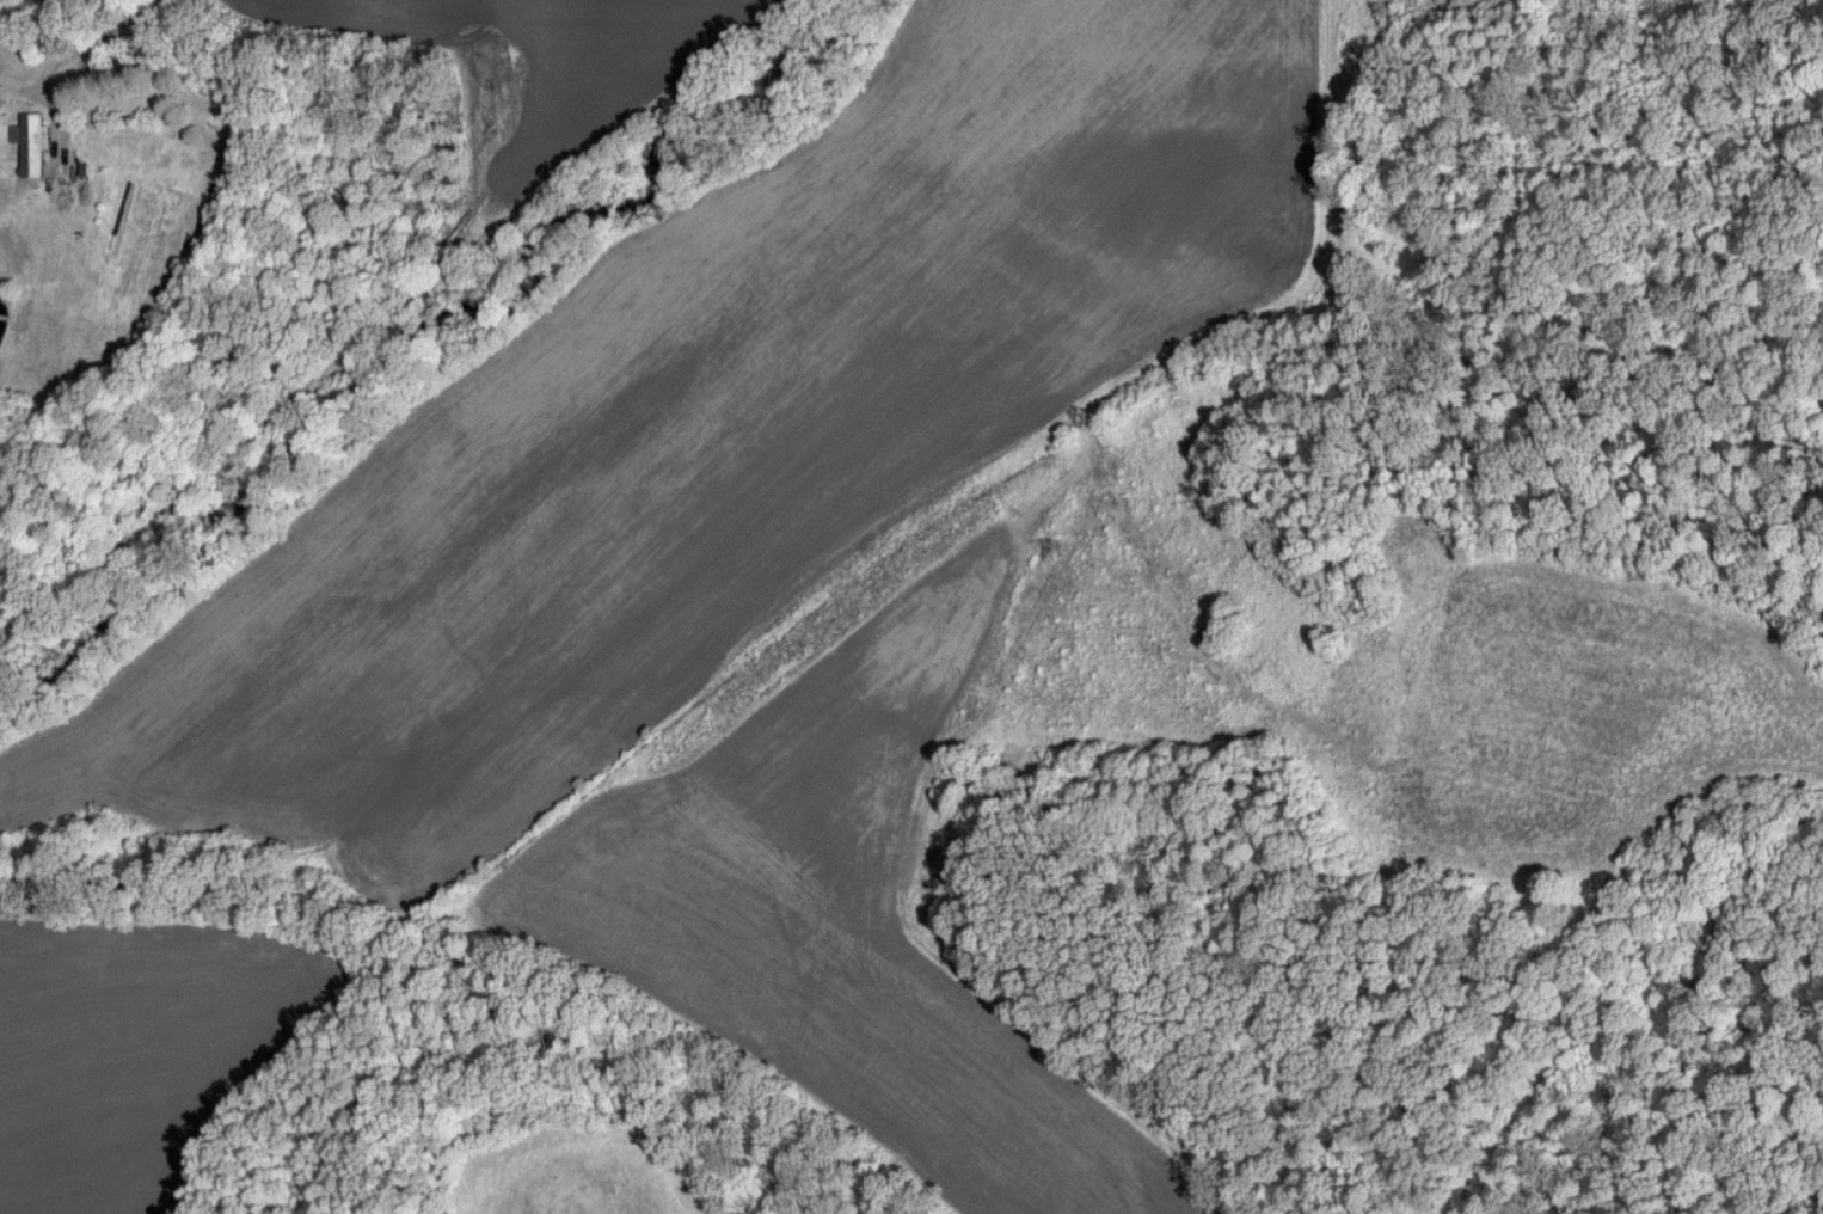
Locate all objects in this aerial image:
building: (30, 141)
road: (395, 317)

